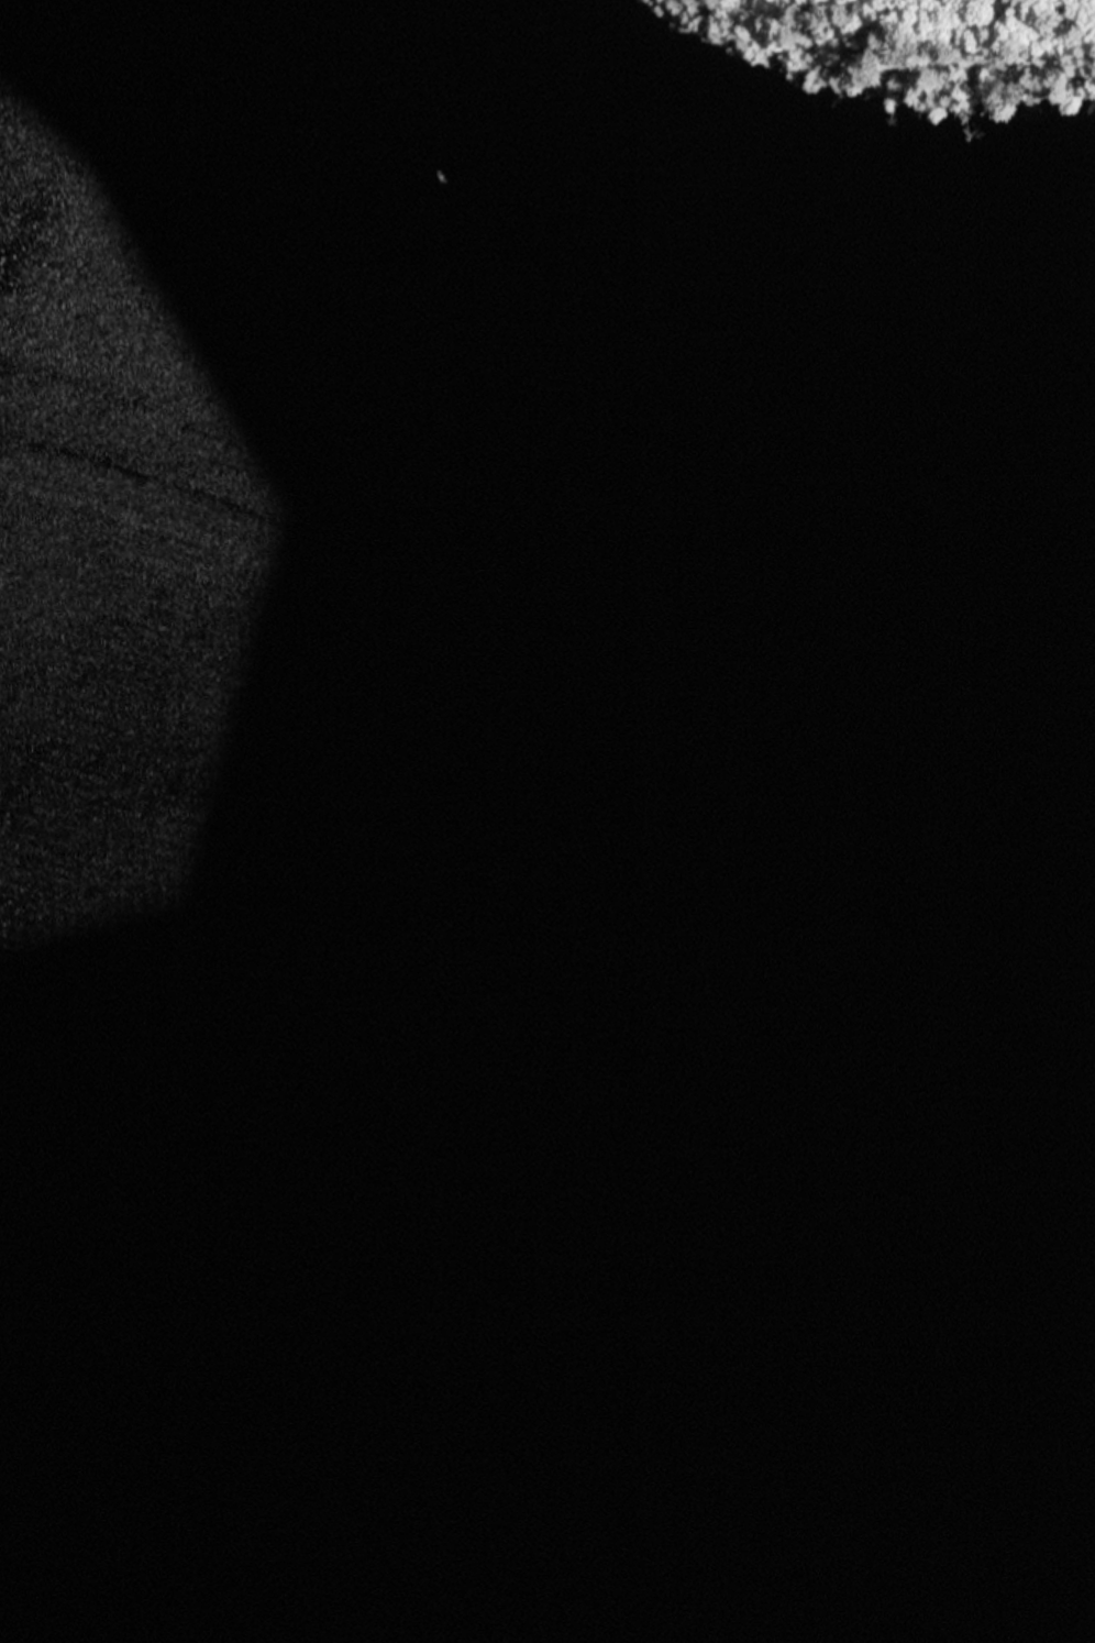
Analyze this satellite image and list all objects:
river: (567, 892)

